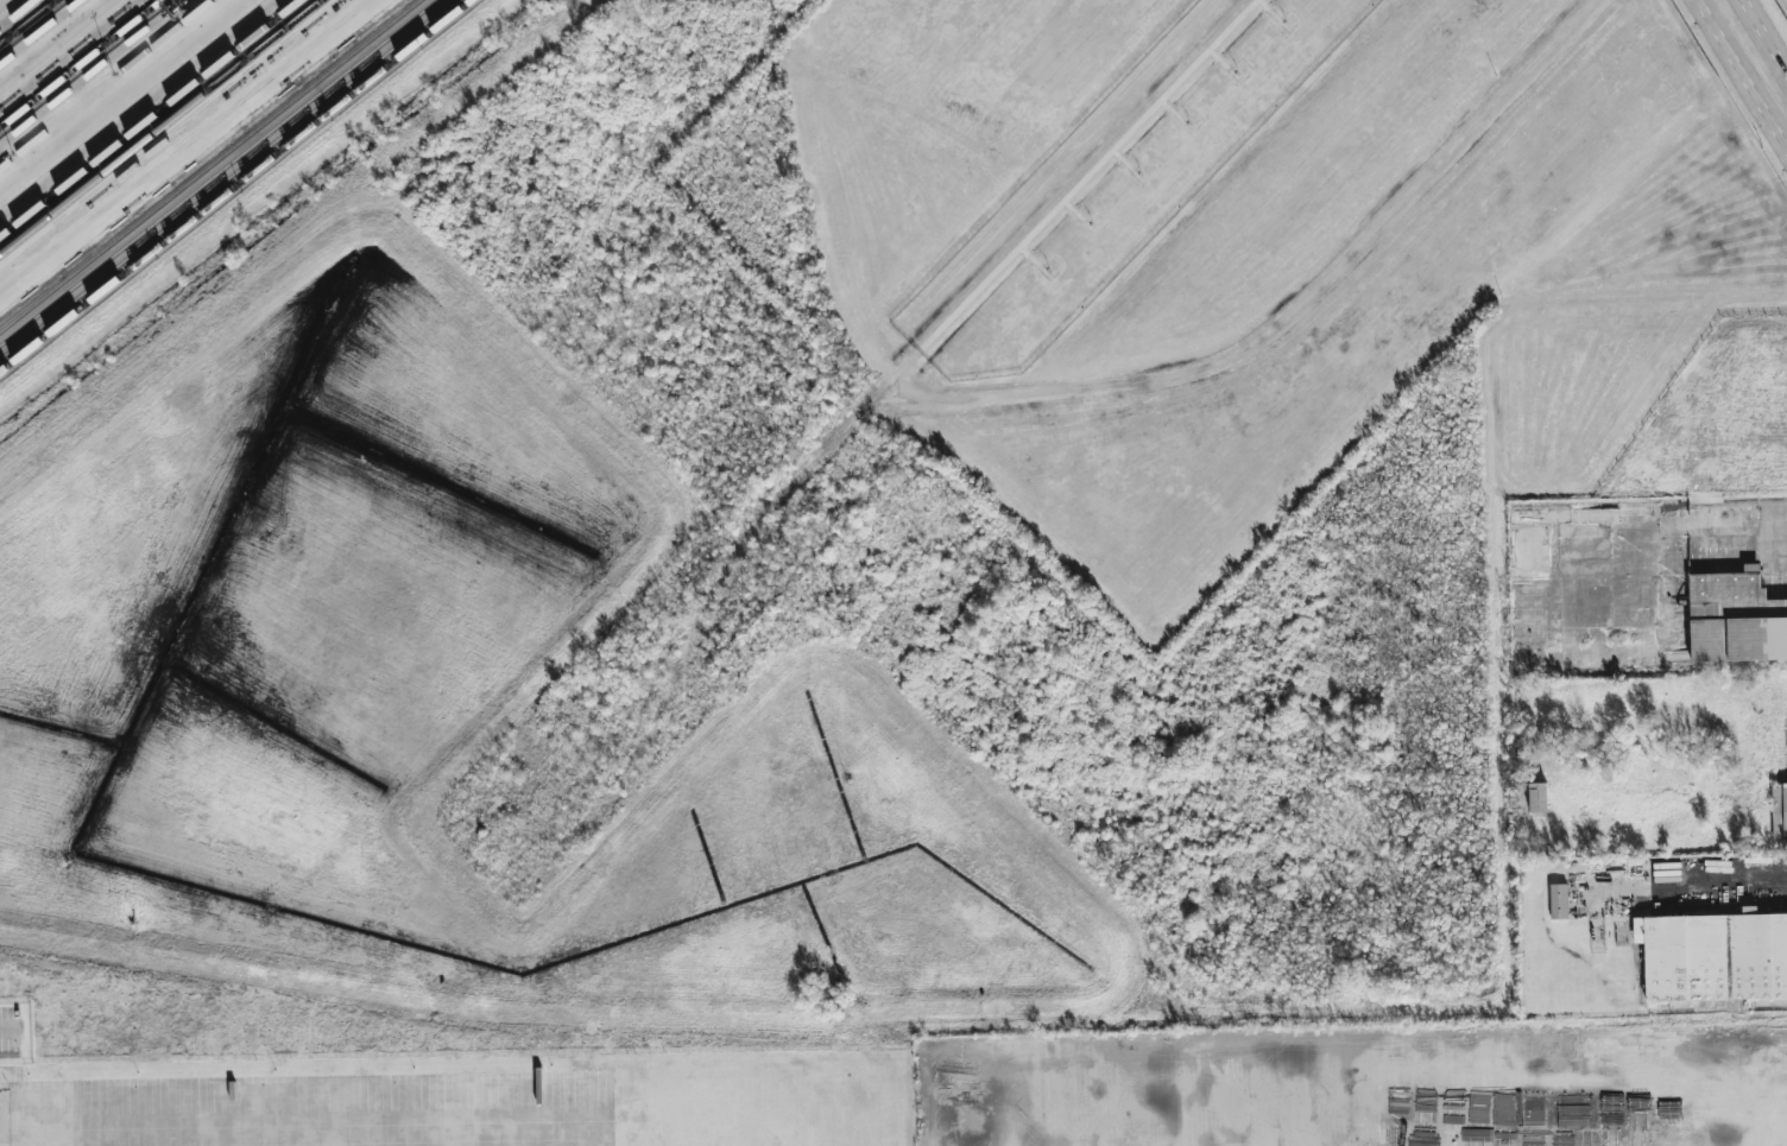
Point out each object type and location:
railway: (29, 21)
road: (1769, 29)
railway: (80, 63)
airport: (1745, 65)
road: (1747, 65)
railway: (213, 84)
railway: (151, 120)
road: (188, 147)
road: (1091, 171)
airport: (1118, 183)
railway: (53, 213)
road: (1720, 513)
building: (1735, 619)
building: (1779, 810)
building: (1558, 901)
building: (1713, 958)
road: (2, 1026)
road: (1652, 1085)
road: (303, 1132)

